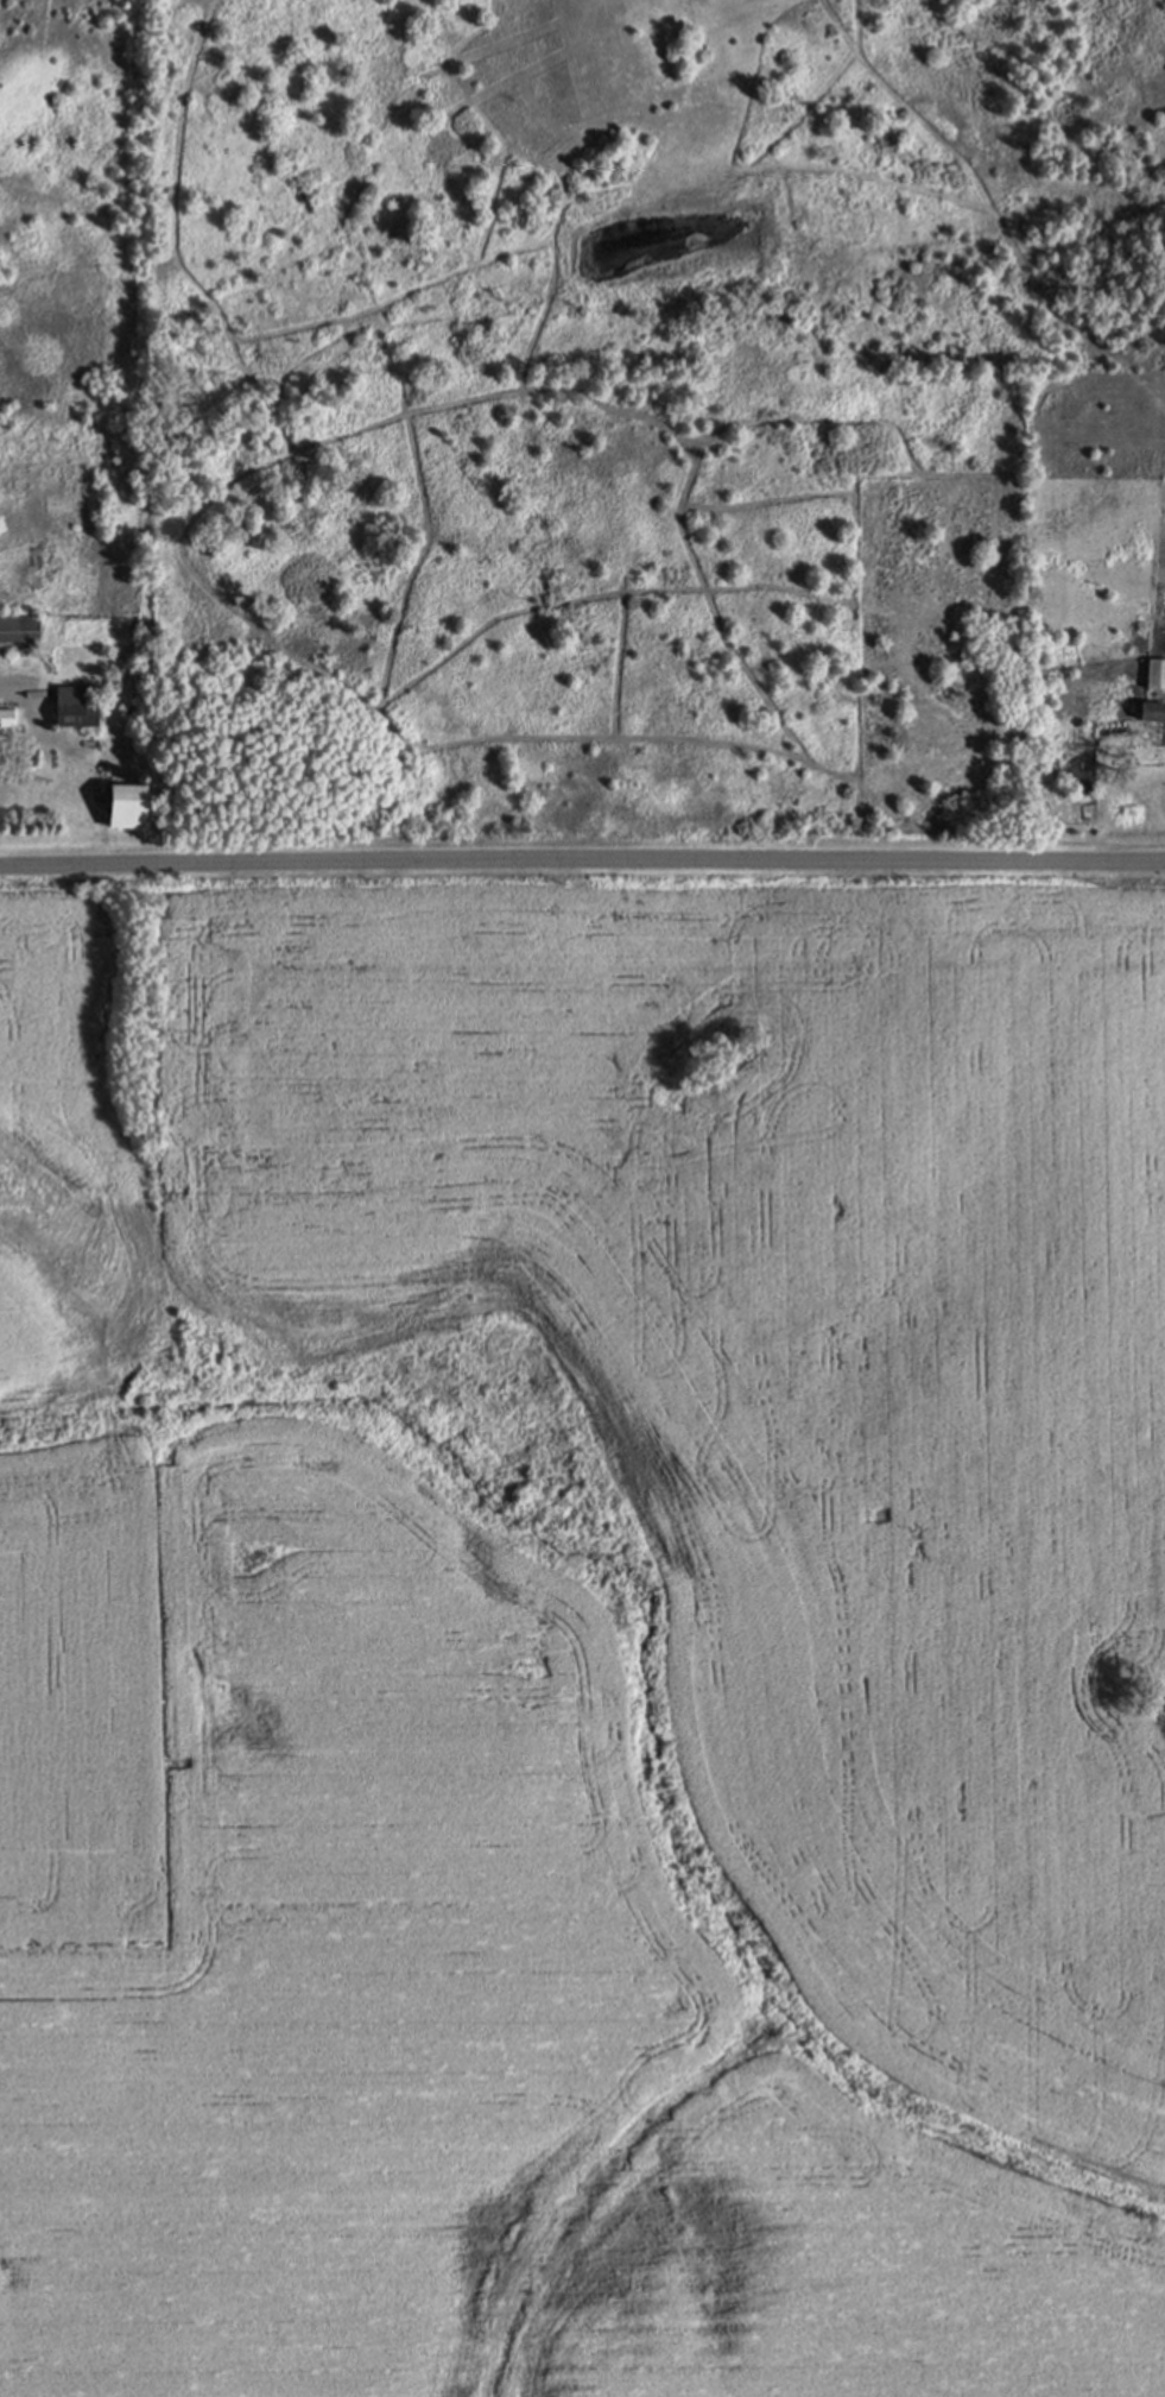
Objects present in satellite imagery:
building: (18, 626)
building: (1155, 673)
building: (75, 704)
building: (1150, 711)
building: (6, 715)
road: (29, 739)
building: (124, 806)
road: (582, 857)

